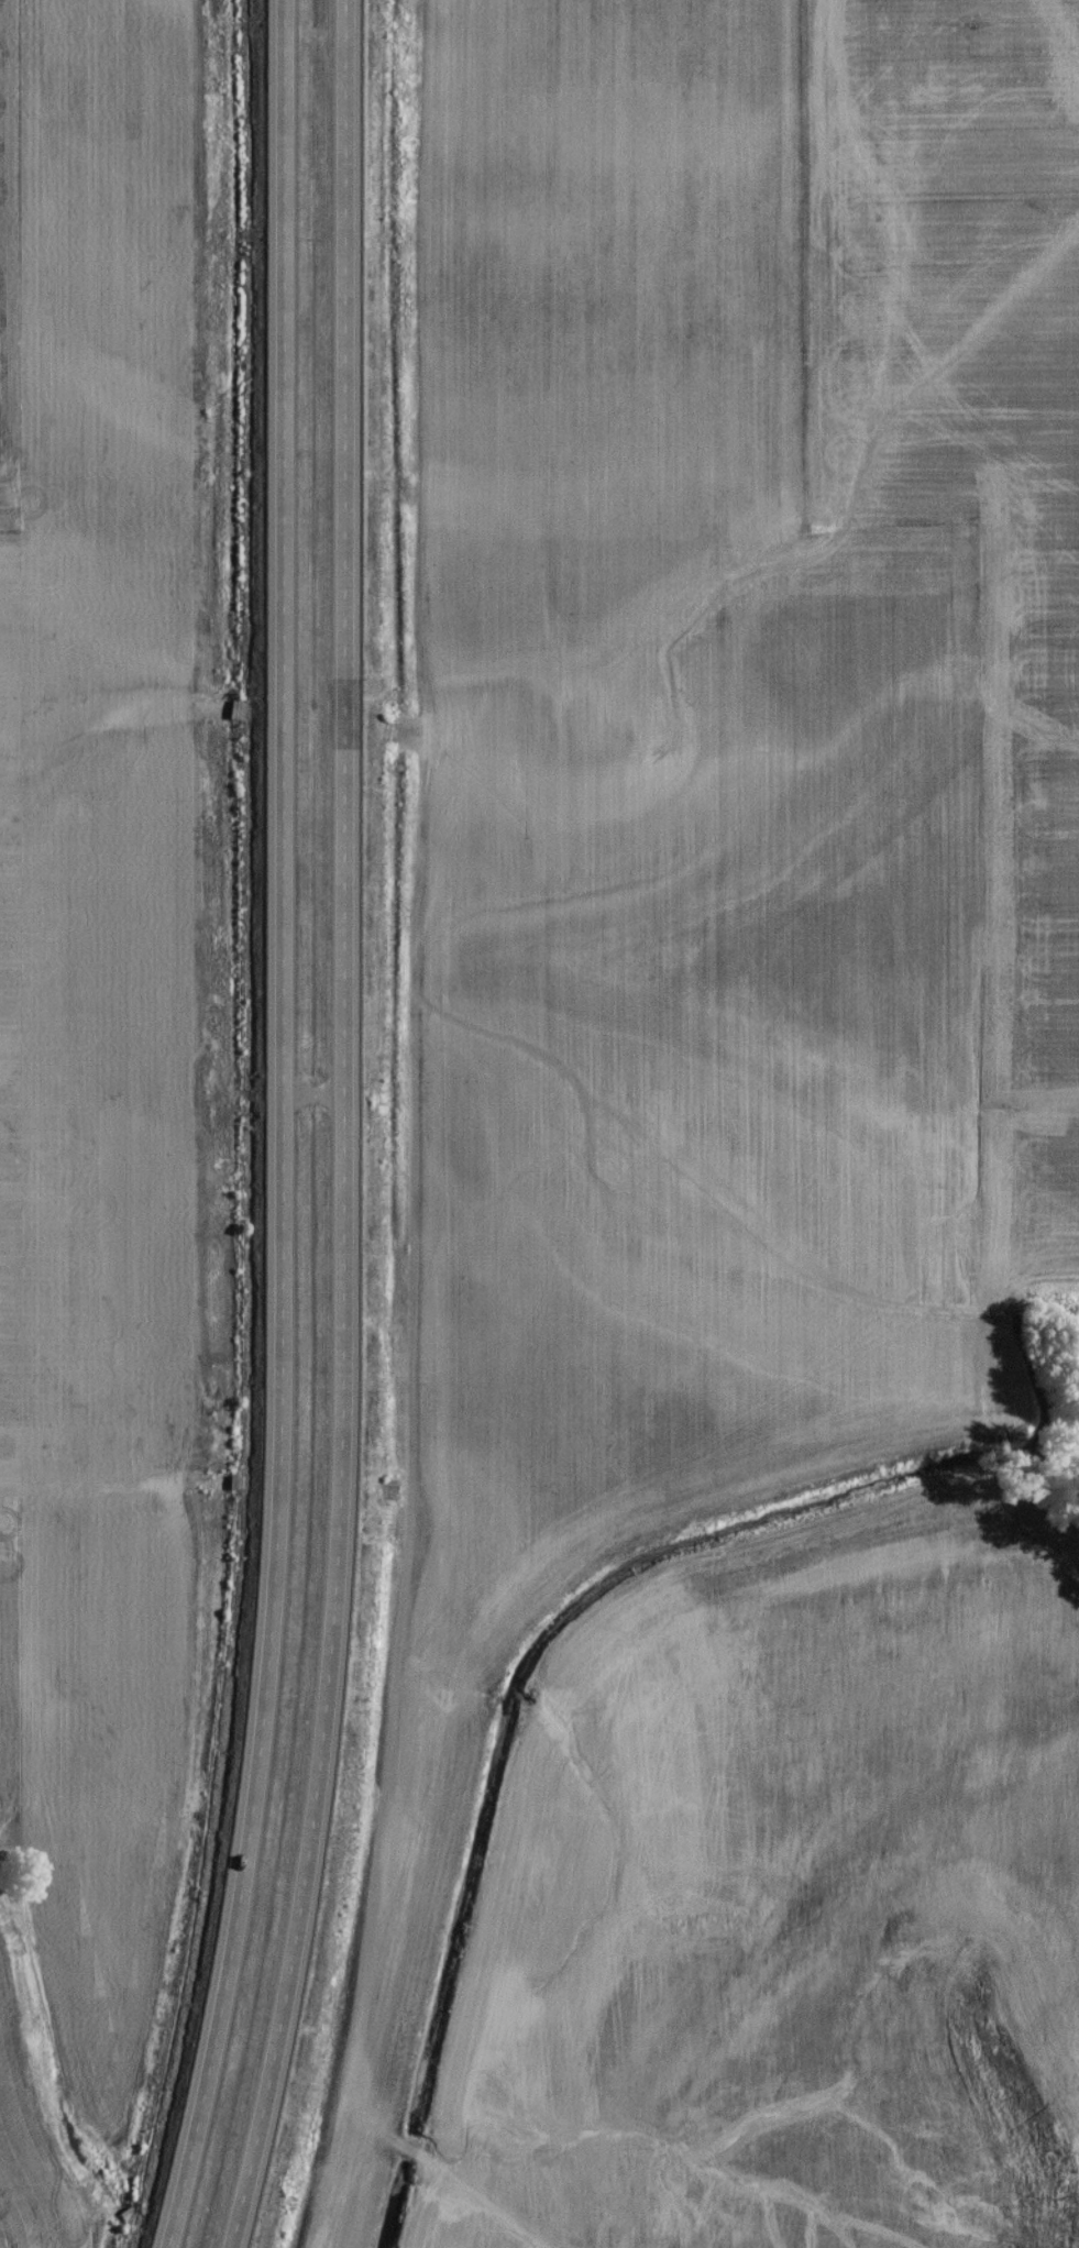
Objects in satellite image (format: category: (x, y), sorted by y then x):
road: (280, 1128)
road: (337, 1128)

